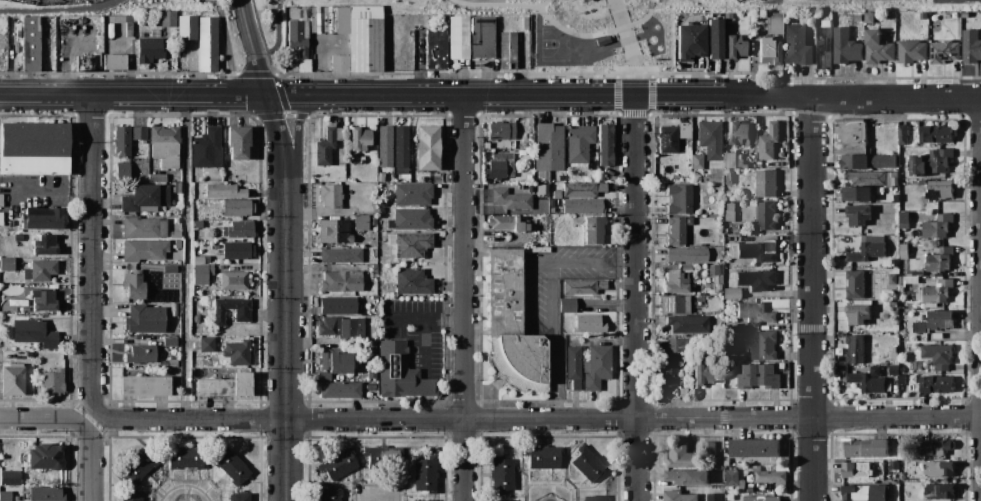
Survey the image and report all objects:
building: (582, 0)
road: (651, 1)
road: (622, 2)
road: (542, 4)
road: (616, 5)
road: (650, 5)
park: (54, 8)
park: (588, 9)
road: (59, 10)
road: (590, 10)
road: (541, 11)
building: (302, 14)
building: (965, 15)
building: (923, 16)
road: (620, 17)
building: (858, 18)
building: (869, 18)
building: (168, 19)
building: (320, 19)
building: (424, 19)
road: (638, 20)
building: (525, 22)
road: (648, 22)
building: (774, 23)
building: (825, 24)
building: (186, 28)
street lamp: (633, 28)
road: (643, 32)
building: (480, 37)
building: (46, 38)
building: (715, 38)
building: (364, 39)
building: (601, 39)
building: (690, 41)
building: (299, 43)
road: (584, 43)
building: (31, 44)
building: (207, 44)
road: (656, 44)
building: (796, 45)
road: (606, 46)
building: (735, 46)
road: (253, 47)
building: (844, 47)
building: (971, 47)
road: (280, 48)
building: (823, 48)
building: (436, 49)
building: (878, 49)
building: (149, 50)
building: (507, 50)
road: (660, 50)
building: (769, 50)
building: (911, 51)
park: (561, 52)
building: (944, 52)
road: (632, 58)
road: (539, 59)
building: (114, 62)
road: (586, 62)
building: (339, 63)
street lamp: (645, 63)
road: (490, 95)
building: (501, 130)
building: (139, 132)
building: (739, 134)
building: (936, 134)
building: (902, 136)
building: (359, 138)
building: (849, 138)
building: (667, 139)
building: (710, 139)
building: (121, 140)
building: (771, 140)
building: (238, 141)
building: (579, 143)
building: (605, 144)
building: (165, 145)
building: (385, 145)
building: (326, 146)
building: (549, 147)
building: (34, 148)
building: (207, 148)
building: (427, 148)
building: (401, 149)
building: (363, 160)
building: (697, 161)
building: (733, 161)
building: (855, 162)
building: (884, 162)
building: (931, 163)
building: (500, 166)
building: (123, 167)
building: (158, 177)
building: (728, 179)
building: (872, 179)
building: (766, 184)
building: (177, 187)
building: (582, 189)
building: (939, 190)
building: (224, 191)
building: (411, 193)
building: (857, 194)
building: (330, 196)
building: (145, 198)
building: (510, 199)
building: (679, 199)
building: (894, 199)
building: (583, 205)
building: (237, 207)
building: (729, 212)
building: (857, 215)
building: (766, 216)
building: (41, 218)
building: (412, 218)
building: (500, 221)
building: (361, 222)
building: (198, 223)
building: (519, 226)
building: (144, 227)
building: (937, 227)
building: (236, 229)
building: (594, 230)
building: (675, 230)
building: (334, 231)
building: (18, 236)
building: (177, 243)
building: (410, 244)
building: (45, 245)
building: (144, 249)
building: (868, 249)
building: (237, 250)
building: (754, 252)
building: (903, 252)
road: (92, 253)
building: (715, 253)
building: (686, 254)
building: (341, 255)
road: (186, 256)
building: (200, 259)
building: (939, 261)
building: (7, 263)
building: (686, 266)
building: (170, 268)
building: (42, 269)
building: (717, 270)
building: (202, 273)
building: (917, 274)
building: (168, 279)
building: (234, 279)
building: (892, 279)
building: (756, 280)
building: (341, 281)
building: (412, 281)
building: (676, 282)
building: (855, 285)
building: (134, 286)
building: (583, 286)
building: (504, 291)
building: (938, 292)
road: (528, 293)
building: (732, 293)
road: (285, 296)
road: (464, 297)
road: (635, 298)
road: (812, 298)
road: (979, 298)
road: (274, 300)
road: (555, 300)
building: (43, 301)
building: (699, 301)
building: (675, 304)
building: (340, 305)
building: (567, 305)
building: (175, 312)
building: (857, 314)
building: (242, 315)
building: (750, 317)
building: (197, 318)
building: (144, 319)
road: (423, 321)
building: (935, 321)
building: (589, 323)
building: (688, 323)
building: (342, 327)
building: (33, 332)
building: (170, 341)
building: (206, 344)
building: (371, 344)
building: (680, 345)
building: (763, 346)
road: (422, 347)
building: (854, 350)
building: (237, 352)
building: (734, 352)
building: (141, 354)
building: (938, 356)
building: (520, 360)
building: (896, 362)
building: (334, 364)
building: (915, 366)
building: (573, 367)
building: (596, 367)
building: (400, 371)
building: (668, 372)
building: (372, 373)
building: (703, 374)
building: (758, 377)
building: (12, 379)
building: (52, 382)
building: (867, 384)
building: (145, 385)
building: (225, 385)
building: (936, 385)
building: (895, 387)
building: (340, 389)
road: (45, 418)
road: (540, 418)
road: (95, 419)
building: (936, 447)
building: (865, 448)
building: (754, 449)
building: (708, 450)
building: (905, 453)
building: (45, 456)
building: (185, 457)
building: (543, 457)
building: (681, 457)
building: (383, 458)
road: (91, 464)
building: (339, 464)
building: (589, 465)
building: (893, 465)
building: (139, 466)
building: (231, 466)
building: (939, 469)
building: (856, 470)
building: (424, 473)
building: (502, 473)
building: (10, 477)
building: (687, 477)
building: (770, 477)
building: (732, 478)
building: (46, 493)
building: (866, 493)
building: (938, 493)
building: (330, 494)
building: (5, 496)
building: (239, 496)
building: (678, 496)
building: (714, 497)
building: (762, 498)
building: (132, 499)
building: (595, 499)
building: (423, 500)
building: (503, 500)

